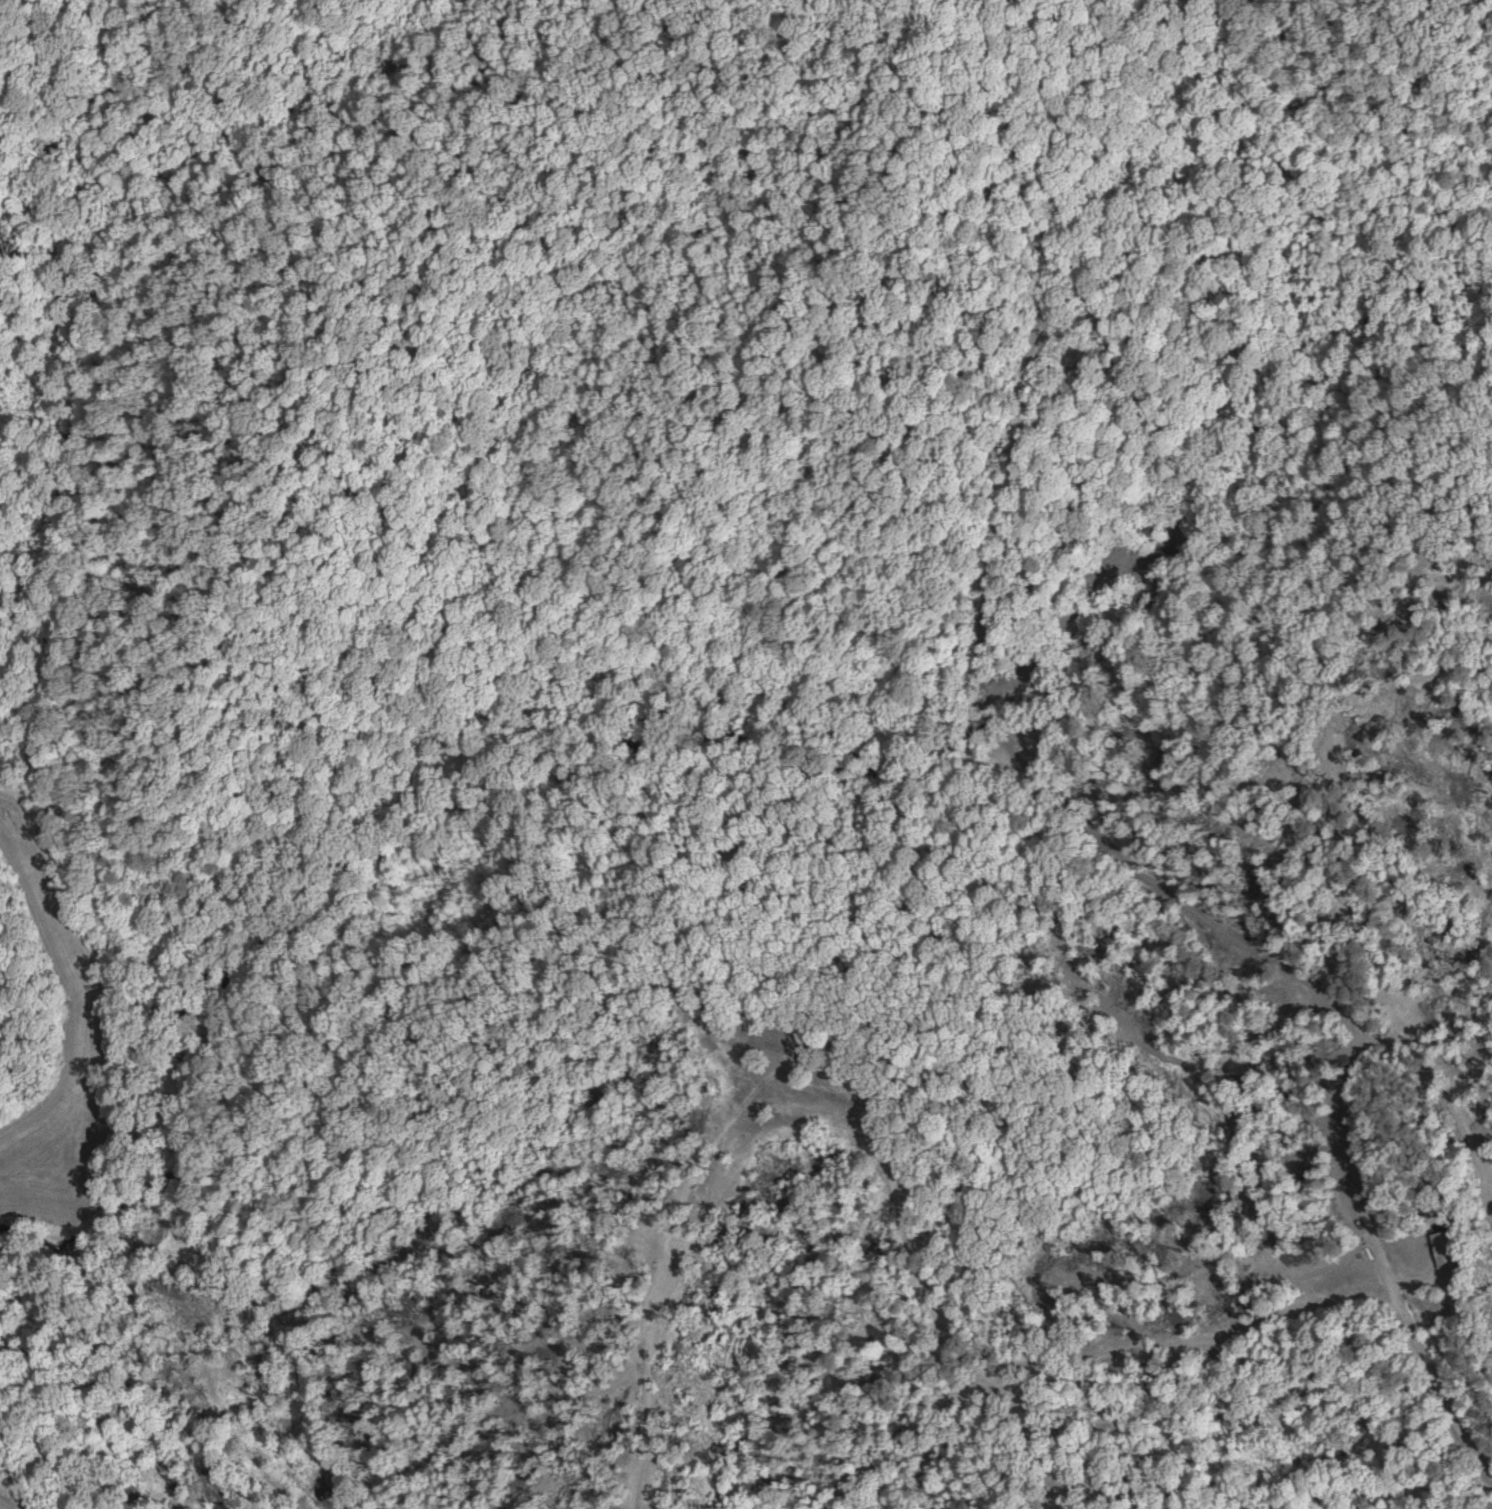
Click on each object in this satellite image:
building: (1441, 1249)
building: (1458, 1308)

